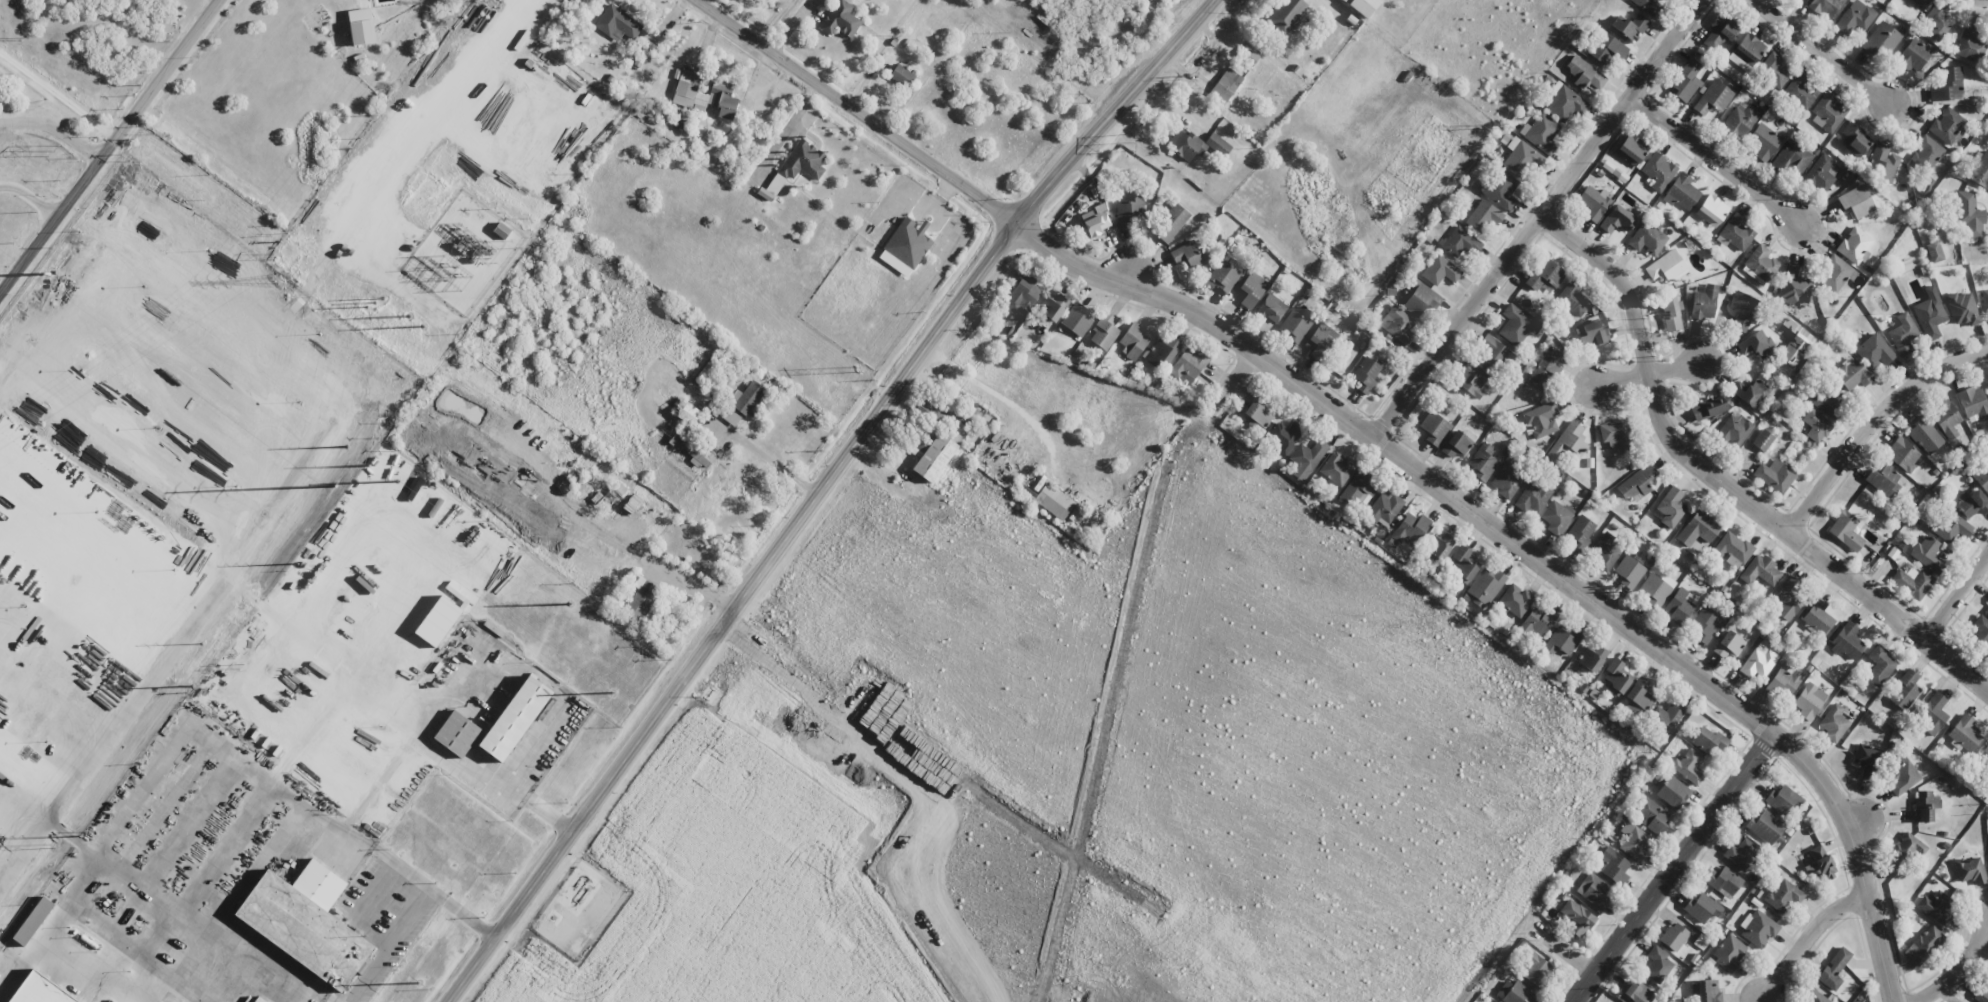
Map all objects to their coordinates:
power tower: (487, 1)
building: (1919, 2)
building: (1362, 6)
building: (1647, 6)
building: (1825, 7)
building: (1285, 15)
building: (1854, 17)
building: (841, 19)
building: (1936, 22)
building: (618, 23)
building: (1630, 26)
building: (1718, 33)
power tower: (26, 39)
building: (1881, 40)
building: (1971, 45)
building: (1606, 48)
building: (1746, 52)
road: (1825, 53)
building: (1913, 54)
building: (1774, 70)
building: (1584, 73)
building: (901, 75)
building: (0, 80)
building: (1686, 81)
building: (1226, 85)
building: (1948, 86)
building: (688, 90)
building: (1800, 91)
building: (1713, 97)
building: (723, 101)
building: (1564, 103)
building: (1827, 113)
building: (1739, 119)
power tower: (1502, 123)
building: (1947, 125)
road: (54, 129)
building: (1542, 133)
building: (1854, 139)
power tower: (1129, 142)
building: (1763, 142)
building: (1186, 144)
building: (1217, 144)
road: (109, 147)
building: (1631, 149)
power tower: (56, 151)
building: (1926, 153)
road: (1715, 156)
building: (1791, 156)
building: (1521, 157)
building: (1882, 162)
building: (796, 166)
building: (1658, 171)
building: (1981, 171)
building: (1821, 172)
building: (1501, 189)
building: (1, 190)
building: (1681, 192)
building: (1856, 201)
building: (1593, 202)
building: (1711, 210)
building: (1483, 215)
building: (1970, 216)
road: (1538, 218)
building: (1617, 219)
building: (1095, 220)
building: (1171, 223)
building: (501, 230)
building: (1735, 233)
building: (1647, 238)
building: (1460, 241)
building: (1854, 245)
building: (905, 246)
power tower: (272, 249)
power substation: (464, 252)
building: (1934, 252)
building: (1188, 254)
building: (1760, 264)
building: (1666, 267)
building: (1440, 270)
power tower: (47, 273)
building: (1835, 273)
road: (1129, 274)
building: (1545, 275)
building: (1223, 276)
power tower: (278, 281)
building: (1793, 287)
building: (1251, 290)
building: (1021, 297)
building: (1572, 297)
building: (1420, 298)
building: (1984, 299)
building: (1704, 302)
power tower: (376, 303)
building: (1053, 307)
building: (1271, 308)
building: (1742, 310)
building: (1929, 313)
building: (1669, 314)
power tower: (409, 316)
power tower: (1354, 319)
building: (1077, 320)
building: (1295, 324)
building: (1397, 325)
building: (1517, 325)
power tower: (424, 326)
building: (1104, 332)
building: (1590, 333)
building: (1902, 334)
building: (1802, 339)
building: (1133, 341)
building: (1320, 341)
building: (1756, 344)
building: (1873, 351)
building: (1160, 353)
building: (1494, 355)
building: (1188, 365)
building: (1545, 368)
power tower: (856, 369)
road: (1647, 370)
building: (1852, 374)
building: (1365, 375)
building: (1471, 379)
road: (1232, 383)
building: (1986, 388)
building: (1750, 392)
building: (748, 398)
building: (1824, 402)
building: (1973, 403)
building: (1707, 408)
building: (688, 413)
building: (1256, 416)
building: (1946, 419)
building: (1540, 420)
road: (1875, 424)
building: (1816, 425)
building: (1434, 428)
building: (1734, 429)
building: (1616, 435)
building: (1924, 435)
building: (1283, 436)
road: (1368, 436)
building: (1763, 440)
building: (1567, 442)
building: (1456, 444)
power tower: (349, 446)
building: (695, 452)
building: (1902, 454)
building: (934, 457)
building: (1306, 458)
road: (769, 460)
building: (1482, 462)
power tower: (369, 466)
building: (1336, 468)
building: (1774, 475)
building: (1982, 477)
building: (1508, 479)
building: (1882, 479)
power tower: (398, 480)
building: (1637, 482)
road: (1722, 483)
building: (1358, 488)
power tower: (336, 489)
road: (821, 492)
building: (598, 493)
building: (1532, 496)
building: (1054, 500)
building: (1973, 503)
building: (1669, 507)
building: (1385, 508)
building: (1555, 516)
building: (1951, 527)
building: (1408, 529)
building: (1845, 530)
building: (1580, 531)
building: (1439, 545)
building: (1732, 547)
building: (1604, 550)
building: (1928, 554)
power tower: (298, 563)
building: (1463, 563)
building: (1760, 570)
building: (1629, 571)
building: (1912, 582)
building: (1485, 587)
building: (1655, 589)
building: (1787, 597)
road: (1956, 598)
building: (640, 599)
building: (1515, 600)
power tower: (569, 602)
building: (1679, 605)
building: (1986, 610)
building: (1817, 616)
building: (438, 621)
building: (1537, 621)
building: (1705, 624)
building: (1979, 632)
building: (1561, 640)
building: (1846, 641)
power tower: (204, 642)
building: (1728, 645)
building: (1591, 658)
building: (1759, 662)
building: (1879, 665)
building: (1615, 677)
building: (1784, 680)
power tower: (194, 686)
building: (1904, 691)
power tower: (611, 692)
building: (1640, 692)
building: (1809, 699)
building: (1934, 711)
building: (1666, 716)
building: (515, 718)
building: (1833, 723)
building: (457, 733)
building: (1964, 733)
building: (1708, 740)
building: (1984, 754)
building: (1867, 759)
building: (1689, 765)
crop: (1095, 769)
building: (1901, 777)
building: (1673, 792)
building: (1782, 799)
building: (1923, 806)
building: (1651, 816)
road: (1856, 819)
building: (1765, 825)
power tower: (81, 837)
building: (1634, 841)
power tower: (54, 845)
building: (1904, 850)
building: (1741, 854)
building: (1815, 859)
building: (1612, 865)
road: (1672, 868)
building: (1969, 870)
building: (1723, 881)
building: (1595, 891)
building: (1783, 895)
building: (1702, 907)
building: (1935, 907)
building: (1577, 918)
building: (33, 921)
building: (305, 922)
building: (1757, 928)
building: (1674, 936)
road: (1806, 937)
building: (1923, 944)
building: (1728, 952)
road: (1565, 953)
building: (1657, 964)
building: (1534, 968)
building: (1833, 969)
road: (1955, 971)
power tower: (415, 982)
building: (38, 991)
building: (1708, 991)
building: (1514, 992)
building: (1634, 992)
building: (1981, 994)
building: (1816, 997)
building: (259, 1000)

